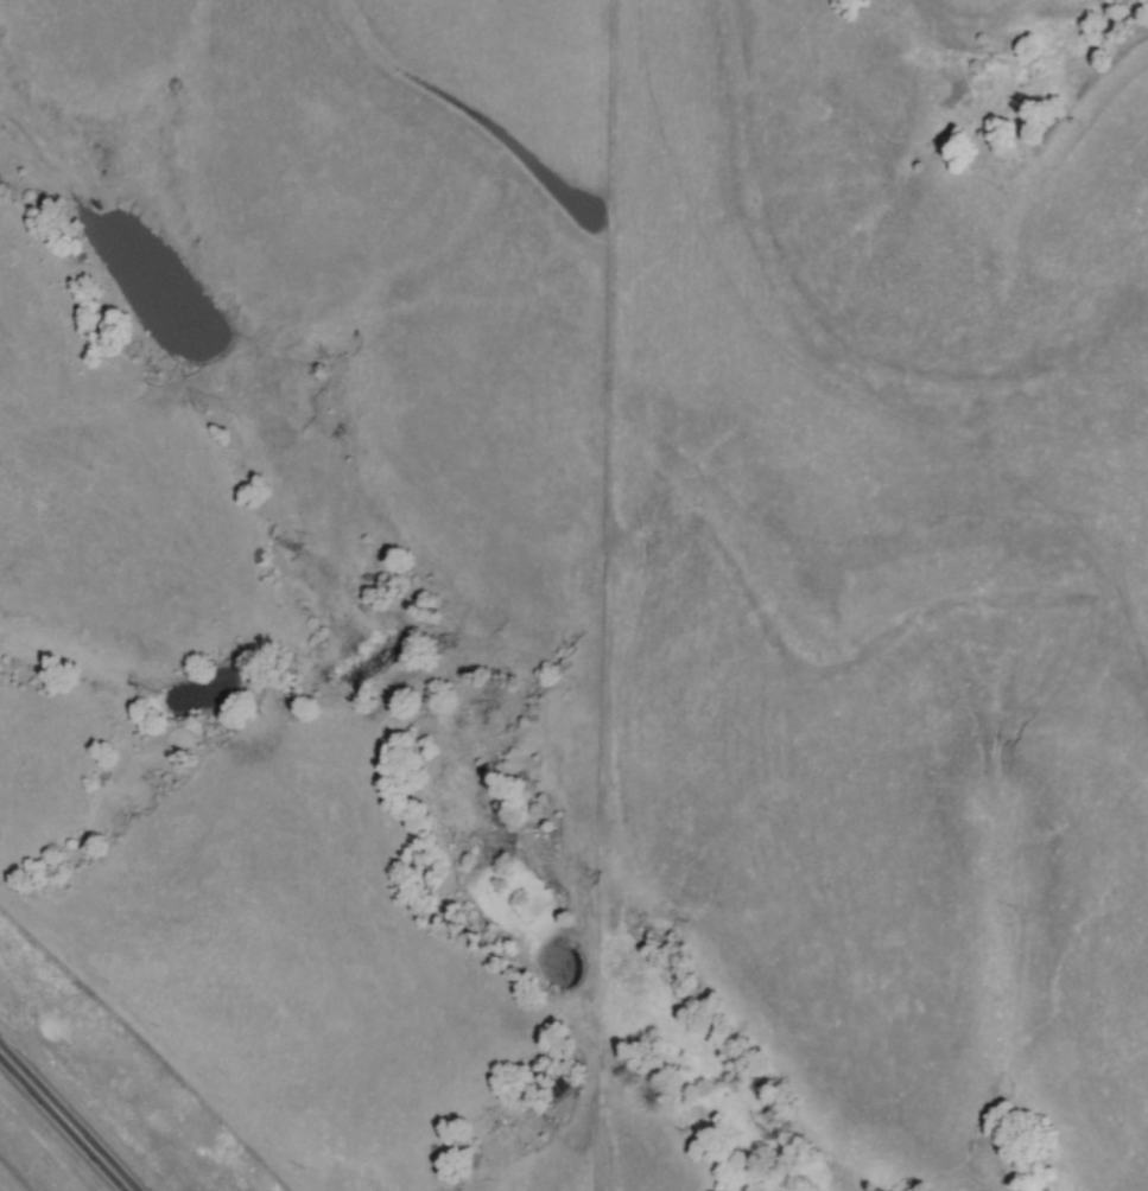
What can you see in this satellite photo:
road: (65, 1121)

